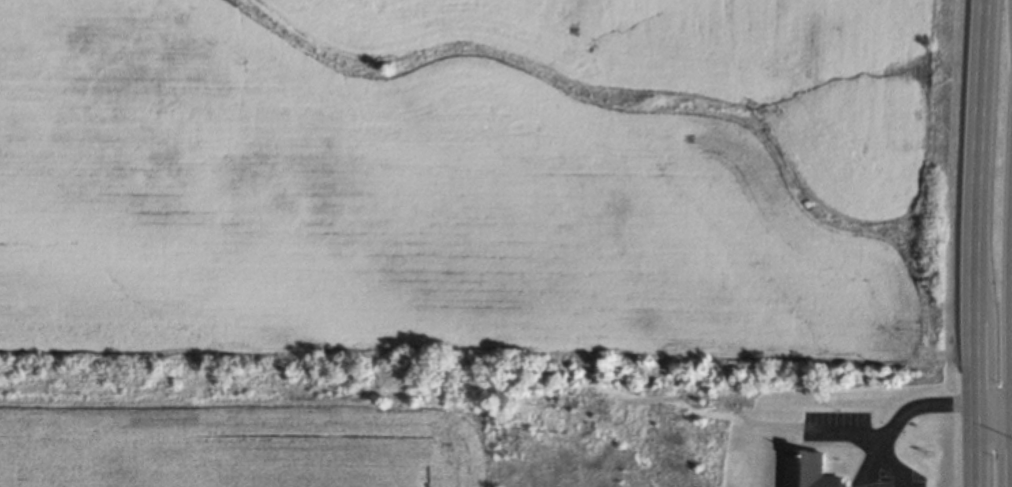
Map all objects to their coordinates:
road: (981, 199)
road: (993, 399)
road: (913, 409)
road: (849, 435)
road: (975, 443)
road: (895, 464)
building: (809, 469)
road: (870, 471)

